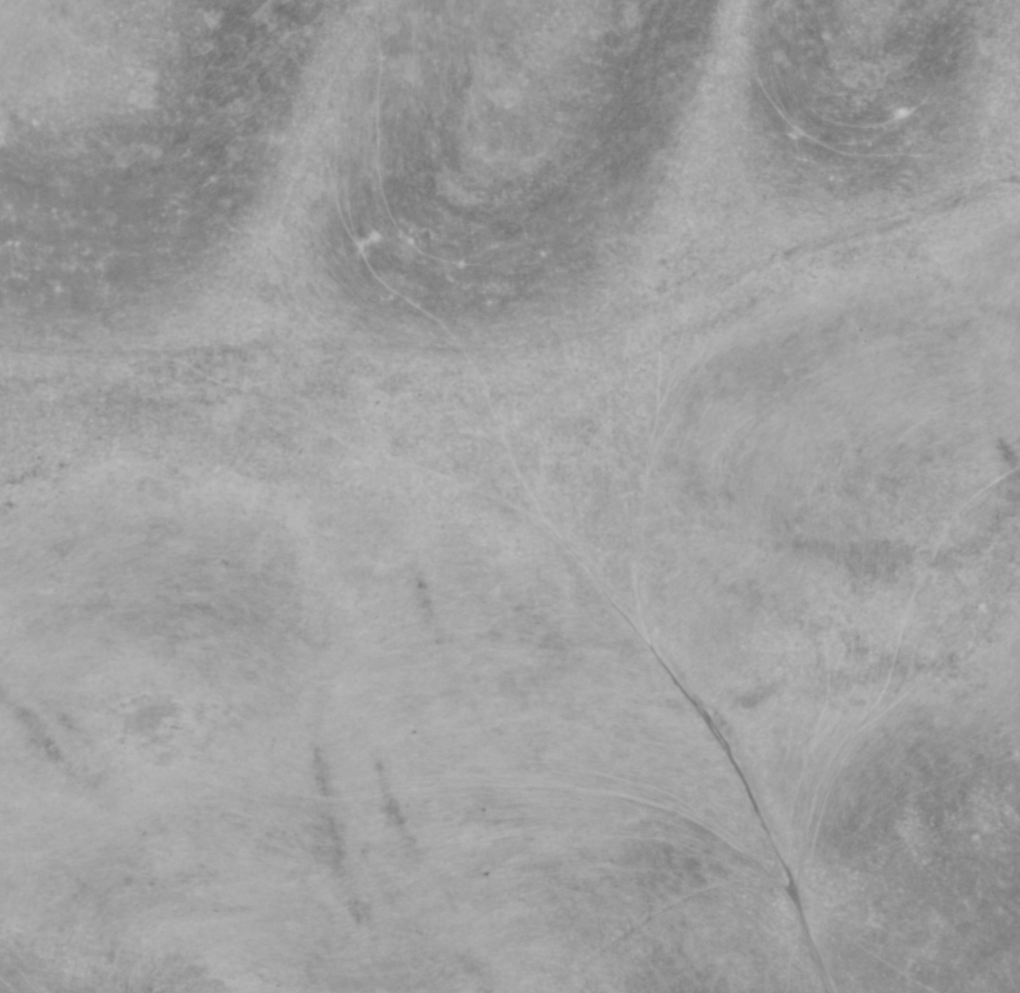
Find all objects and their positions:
road: (522, 408)

